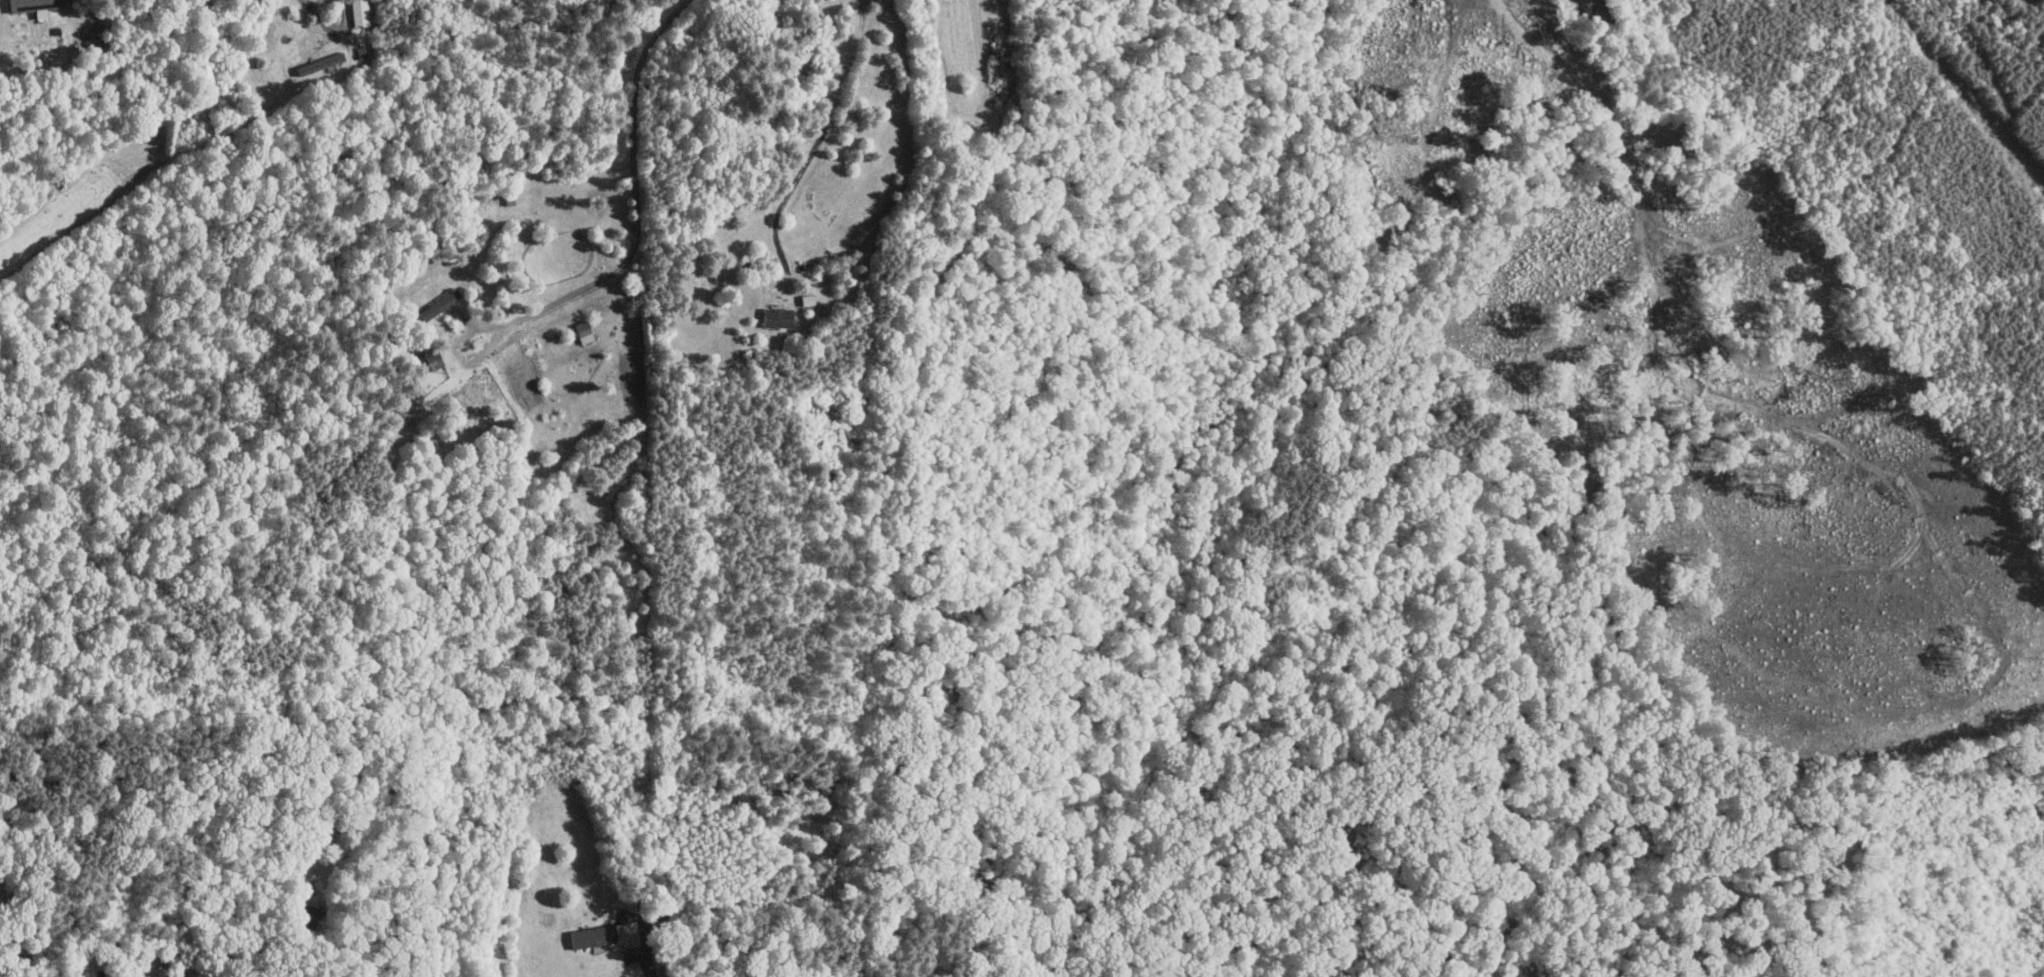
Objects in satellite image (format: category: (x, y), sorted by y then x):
building: (29, 4)
road: (315, 12)
road: (819, 137)
road: (637, 211)
building: (435, 306)
building: (774, 317)
building: (581, 331)
building: (429, 361)
building: (588, 936)
road: (640, 955)

